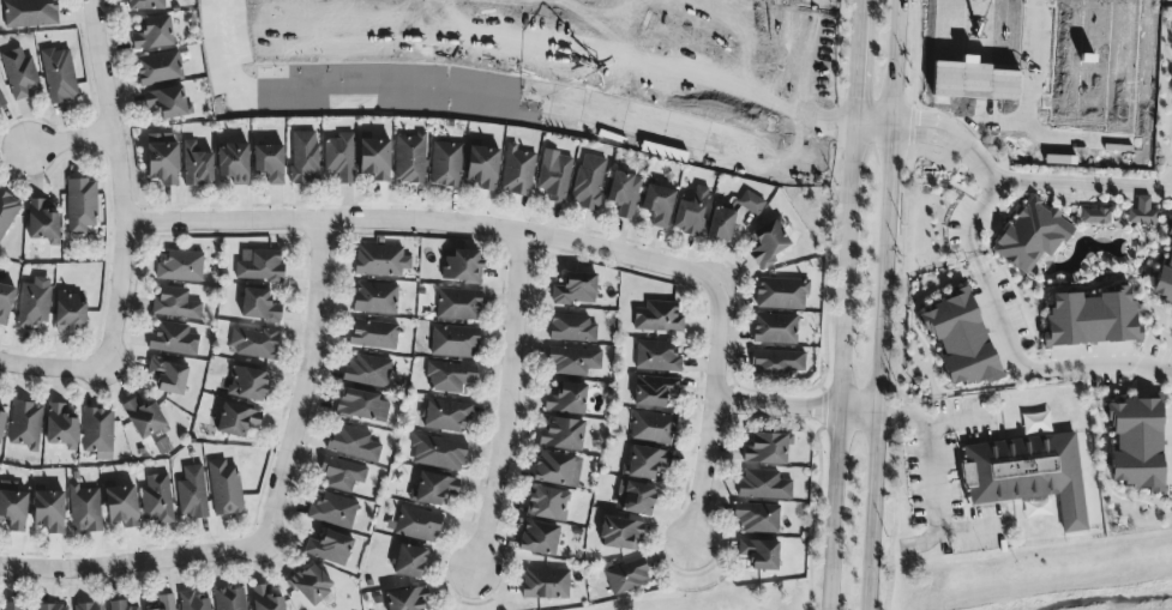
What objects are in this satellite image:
building: (145, 5)
building: (30, 13)
building: (154, 34)
road: (854, 60)
building: (158, 68)
building: (19, 73)
building: (59, 76)
building: (1, 101)
building: (167, 102)
road: (873, 122)
road: (958, 131)
road: (957, 138)
road: (66, 140)
road: (950, 143)
building: (303, 157)
building: (339, 158)
building: (163, 159)
building: (374, 159)
building: (410, 159)
building: (269, 163)
building: (233, 164)
building: (445, 164)
building: (196, 165)
building: (482, 168)
building: (517, 171)
building: (554, 176)
road: (119, 177)
building: (588, 182)
road: (1083, 186)
building: (624, 194)
building: (657, 205)
building: (80, 206)
building: (7, 212)
building: (691, 212)
building: (1142, 212)
building: (732, 216)
building: (1094, 217)
building: (41, 221)
road: (417, 222)
building: (1170, 227)
building: (1032, 235)
building: (768, 244)
building: (380, 260)
building: (180, 266)
building: (462, 266)
building: (260, 267)
building: (1164, 280)
building: (575, 290)
building: (781, 294)
building: (374, 298)
building: (5, 302)
building: (34, 303)
building: (175, 304)
building: (458, 304)
road: (885, 304)
building: (259, 306)
building: (70, 313)
building: (657, 318)
building: (1092, 319)
building: (571, 328)
building: (775, 328)
building: (374, 334)
building: (173, 339)
building: (960, 339)
building: (453, 342)
building: (253, 343)
road: (1009, 344)
building: (656, 357)
building: (572, 361)
building: (777, 363)
road: (837, 364)
road: (55, 369)
building: (367, 370)
building: (168, 376)
building: (450, 376)
building: (248, 383)
road: (300, 388)
building: (654, 391)
building: (566, 399)
road: (501, 400)
building: (361, 405)
road: (795, 406)
road: (709, 412)
building: (446, 416)
building: (143, 418)
building: (236, 419)
road: (928, 422)
building: (1, 425)
building: (25, 425)
building: (61, 427)
building: (653, 428)
building: (97, 430)
building: (561, 435)
building: (353, 443)
building: (1136, 443)
building: (765, 449)
building: (438, 453)
building: (645, 463)
building: (557, 470)
building: (341, 475)
building: (1028, 475)
building: (763, 485)
building: (224, 489)
building: (433, 489)
building: (192, 493)
building: (635, 499)
building: (156, 500)
building: (547, 503)
road: (936, 503)
building: (121, 506)
building: (13, 507)
building: (84, 509)
building: (332, 509)
building: (49, 512)
building: (757, 518)
building: (417, 524)
building: (620, 533)
building: (539, 538)
building: (330, 548)
building: (759, 554)
building: (409, 562)
road: (124, 564)
building: (626, 576)
building: (309, 584)
building: (545, 584)
building: (229, 598)
building: (264, 599)
building: (405, 599)
building: (164, 602)
building: (193, 602)
building: (119, 605)
building: (53, 606)
building: (89, 606)
building: (16, 608)

